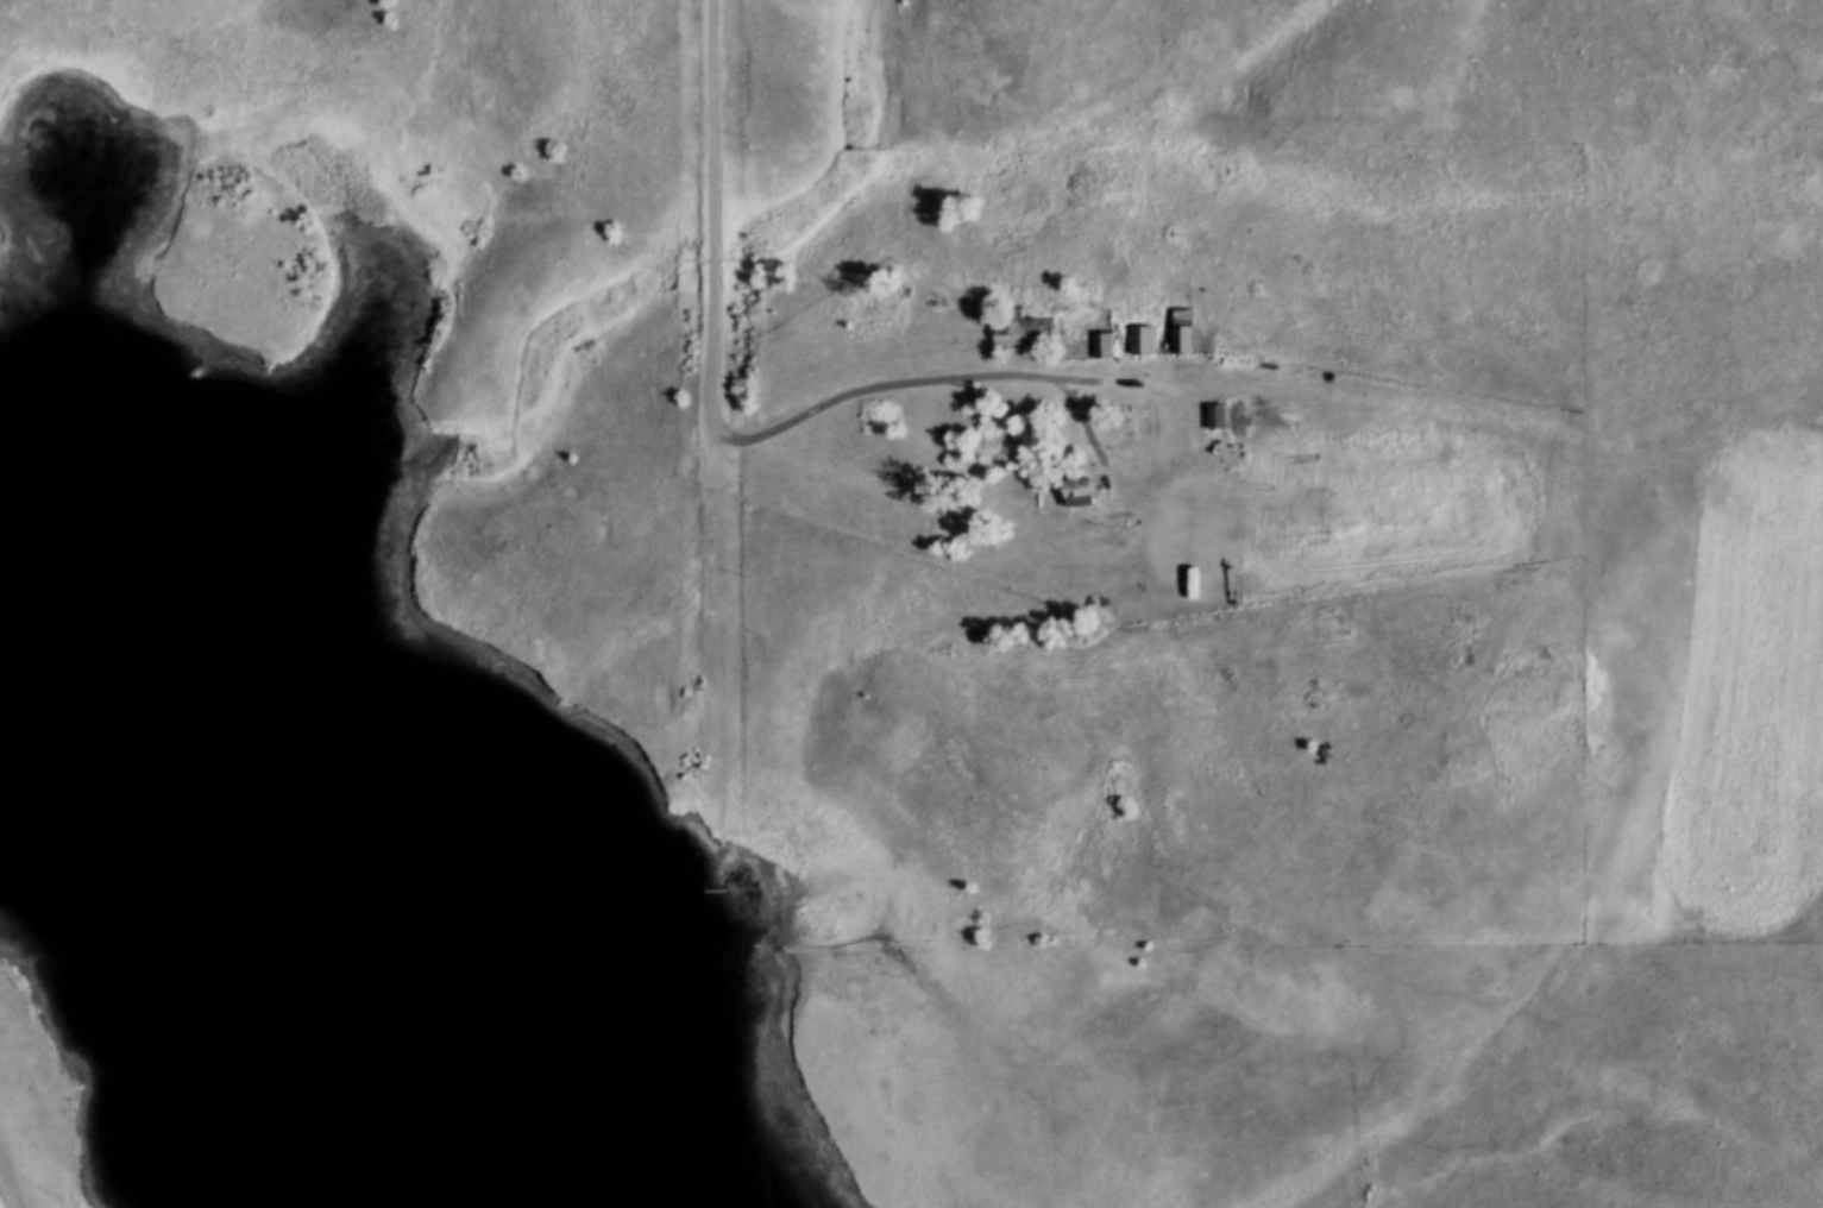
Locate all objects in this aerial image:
road: (712, 219)
building: (876, 302)
building: (1184, 332)
building: (1029, 333)
building: (1142, 341)
road: (901, 389)
building: (887, 416)
building: (1220, 417)
road: (1461, 428)
building: (1083, 493)
road: (5, 1194)

